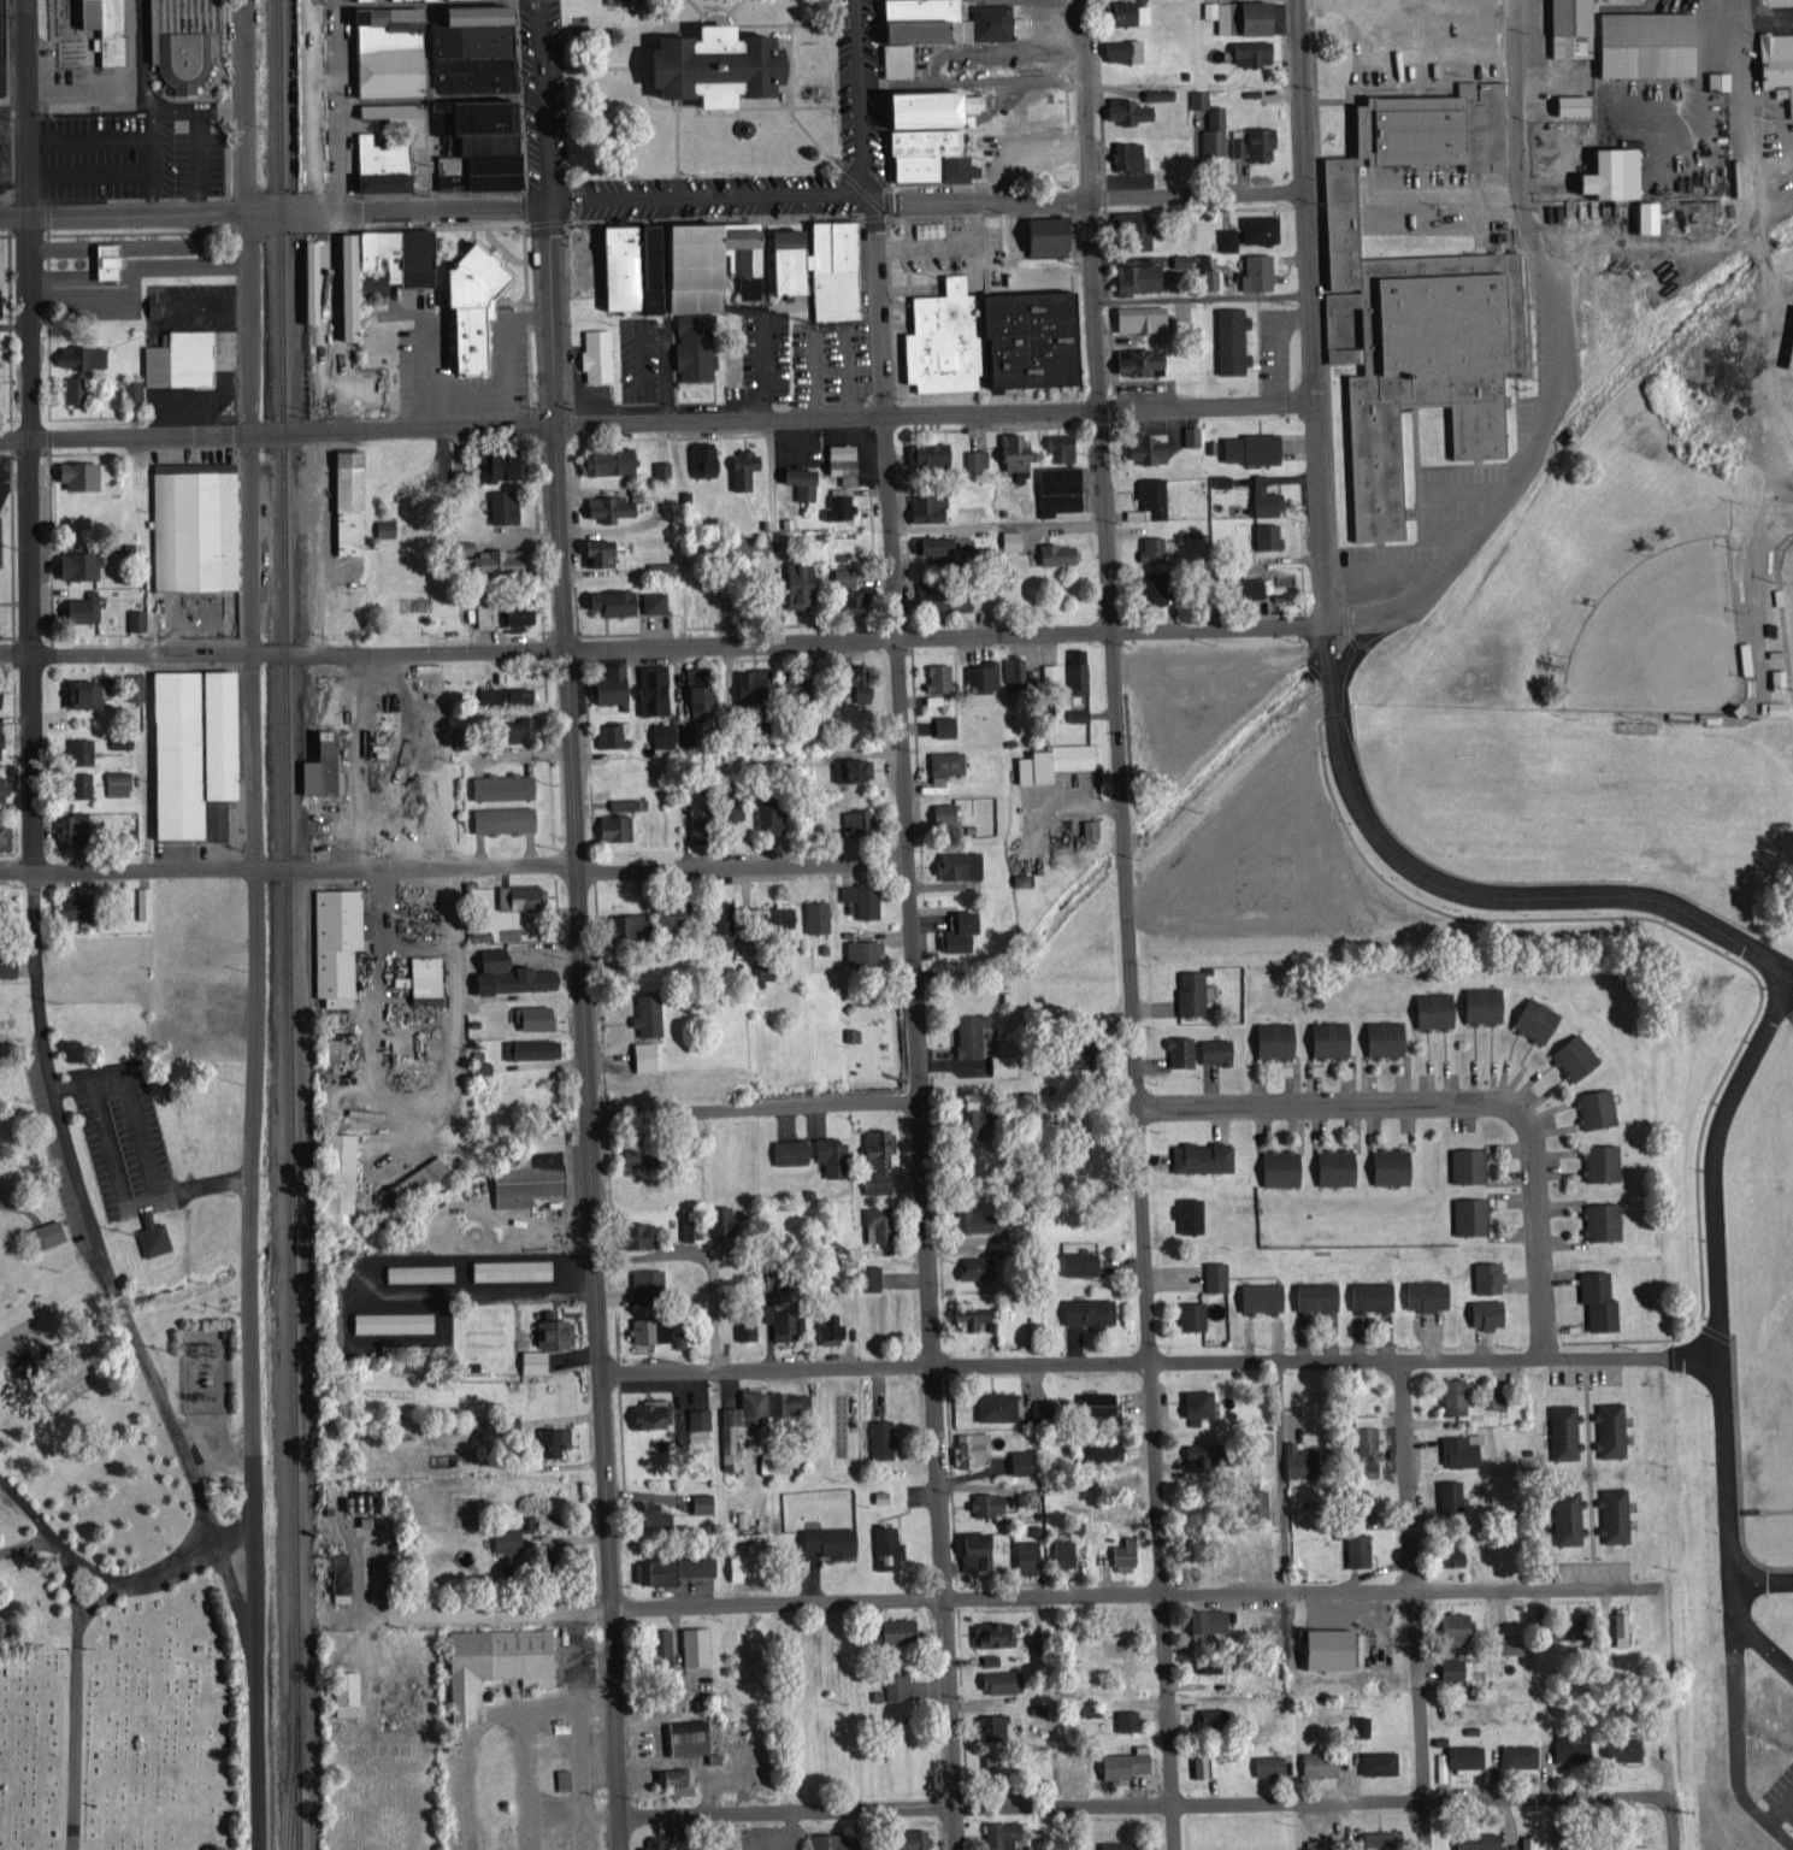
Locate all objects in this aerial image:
building: (1123, 12)
building: (1237, 14)
building: (98, 26)
building: (928, 26)
building: (1564, 28)
building: (1, 30)
building: (183, 42)
building: (1639, 42)
building: (426, 48)
building: (1120, 48)
building: (1246, 51)
building: (0, 61)
building: (1775, 61)
building: (714, 70)
building: (1715, 79)
park: (698, 87)
building: (1151, 92)
building: (1196, 96)
road: (863, 99)
road: (542, 100)
road: (338, 102)
building: (1563, 102)
building: (1123, 110)
building: (388, 112)
building: (1210, 130)
building: (921, 132)
building: (476, 142)
building: (1250, 142)
road: (1759, 145)
parking lot: (6, 149)
building: (1126, 160)
building: (377, 164)
building: (1602, 172)
road: (1087, 194)
road: (708, 199)
road: (272, 207)
building: (1641, 216)
building: (1130, 225)
building: (1255, 226)
building: (1040, 235)
building: (1223, 237)
building: (1178, 259)
building: (671, 264)
building: (100, 265)
building: (810, 265)
building: (1252, 270)
building: (1207, 276)
building: (1131, 277)
building: (301, 281)
building: (368, 283)
building: (338, 284)
building: (1414, 299)
building: (1136, 317)
building: (1226, 338)
building: (690, 344)
road: (1550, 346)
building: (989, 347)
building: (592, 353)
building: (77, 354)
building: (177, 358)
building: (1132, 359)
road: (1765, 369)
building: (69, 388)
building: (129, 388)
road: (933, 412)
road: (277, 431)
building: (1186, 435)
building: (1055, 446)
building: (1245, 447)
building: (1143, 449)
building: (924, 453)
building: (1010, 454)
building: (973, 458)
building: (602, 459)
building: (698, 460)
building: (839, 461)
building: (499, 465)
building: (657, 467)
building: (738, 467)
building: (79, 473)
building: (1216, 479)
building: (795, 481)
parking lot: (5, 482)
building: (1052, 488)
building: (1148, 495)
building: (1260, 496)
building: (837, 505)
building: (921, 505)
building: (499, 506)
building: (602, 506)
building: (191, 524)
building: (382, 526)
building: (1263, 535)
building: (1007, 538)
building: (939, 544)
building: (1148, 547)
building: (592, 550)
building: (1051, 552)
building: (482, 556)
building: (71, 564)
building: (839, 576)
building: (791, 584)
building: (1239, 587)
building: (1148, 588)
park: (1787, 593)
building: (700, 599)
building: (601, 600)
building: (842, 600)
building: (649, 601)
building: (951, 601)
building: (76, 606)
building: (513, 612)
building: (134, 618)
road: (967, 635)
park: (1663, 636)
road: (1326, 647)
road: (282, 653)
building: (1740, 656)
building: (1010, 667)
building: (1046, 670)
building: (1073, 670)
road: (1352, 672)
building: (688, 673)
building: (979, 674)
building: (934, 676)
building: (1773, 678)
building: (749, 679)
building: (853, 681)
building: (606, 684)
building: (783, 684)
building: (131, 685)
building: (649, 689)
building: (78, 691)
building: (500, 693)
building: (2, 694)
building: (692, 699)
building: (1771, 706)
building: (1074, 713)
building: (943, 724)
building: (514, 727)
building: (659, 732)
building: (603, 733)
building: (2, 737)
building: (183, 747)
building: (76, 749)
road: (252, 755)
building: (1049, 760)
building: (942, 761)
building: (317, 764)
building: (849, 767)
building: (114, 780)
building: (75, 783)
building: (496, 784)
building: (4, 786)
road: (31, 786)
building: (620, 802)
building: (939, 812)
building: (207, 818)
building: (499, 818)
building: (765, 818)
building: (853, 820)
building: (72, 823)
building: (609, 826)
building: (1087, 827)
building: (5, 835)
road: (741, 864)
building: (954, 864)
road: (288, 873)
building: (515, 895)
building: (859, 897)
building: (141, 901)
building: (83, 906)
building: (813, 915)
building: (662, 917)
building: (773, 919)
building: (716, 921)
road: (1229, 921)
railway: (293, 924)
building: (361, 924)
building: (619, 924)
road: (1128, 924)
building: (955, 930)
building: (332, 944)
building: (857, 951)
building: (10, 965)
building: (505, 973)
building: (421, 974)
building: (1186, 990)
building: (1478, 1003)
building: (1428, 1008)
building: (642, 1014)
building: (529, 1015)
building: (1532, 1018)
road: (915, 1023)
road: (584, 1025)
building: (849, 1033)
building: (966, 1033)
building: (1325, 1037)
building: (1380, 1037)
building: (1270, 1038)
building: (526, 1048)
building: (1211, 1049)
building: (1175, 1050)
building: (1570, 1054)
building: (641, 1055)
building: (1066, 1055)
building: (1003, 1062)
road: (1333, 1102)
road: (754, 1107)
building: (1593, 1107)
building: (965, 1121)
building: (541, 1139)
building: (785, 1150)
building: (827, 1154)
building: (1198, 1155)
building: (873, 1160)
building: (1598, 1161)
building: (1464, 1163)
building: (1332, 1166)
building: (1386, 1166)
building: (1276, 1167)
building: (337, 1171)
building: (413, 1177)
building: (521, 1178)
building: (1186, 1214)
building: (1467, 1215)
building: (716, 1216)
building: (971, 1219)
building: (1598, 1219)
building: (873, 1221)
building: (53, 1230)
building: (625, 1232)
building: (154, 1233)
road: (1537, 1237)
road: (1716, 1260)
building: (1073, 1261)
building: (968, 1265)
building: (508, 1267)
building: (415, 1271)
building: (1211, 1274)
building: (1484, 1274)
building: (866, 1275)
building: (642, 1279)
building: (1420, 1292)
building: (1366, 1294)
building: (1256, 1295)
building: (1310, 1295)
park: (118, 1296)
building: (1593, 1298)
building: (1085, 1309)
building: (1481, 1312)
building: (968, 1313)
building: (1189, 1314)
building: (778, 1316)
building: (390, 1320)
building: (743, 1326)
building: (824, 1326)
building: (645, 1327)
building: (548, 1328)
road: (1520, 1354)
building: (530, 1359)
road: (1001, 1365)
building: (30, 1366)
building: (1450, 1394)
railway: (284, 1401)
building: (786, 1401)
building: (1192, 1401)
building: (1492, 1401)
building: (1092, 1402)
building: (991, 1403)
building: (644, 1412)
building: (695, 1416)
building: (736, 1421)
building: (1605, 1427)
building: (1559, 1430)
building: (877, 1437)
building: (548, 1438)
building: (1361, 1443)
building: (1098, 1445)
building: (968, 1447)
building: (1190, 1450)
building: (1291, 1459)
building: (1016, 1460)
building: (1445, 1493)
building: (1351, 1495)
building: (700, 1501)
building: (983, 1501)
building: (1250, 1501)
road: (28, 1507)
building: (649, 1513)
building: (1610, 1513)
building: (1564, 1515)
building: (548, 1519)
building: (502, 1538)
building: (824, 1538)
building: (883, 1546)
building: (1352, 1548)
building: (968, 1549)
building: (1061, 1551)
building: (1445, 1551)
building: (1119, 1553)
building: (1022, 1555)
building: (336, 1557)
building: (733, 1566)
building: (668, 1567)
road: (234, 1579)
road: (124, 1584)
road: (1740, 1595)
road: (1125, 1597)
road: (1412, 1603)
road: (93, 1608)
road: (502, 1614)
building: (1203, 1618)
building: (1616, 1626)
building: (1447, 1627)
building: (890, 1628)
building: (989, 1632)
building: (1109, 1634)
building: (690, 1644)
building: (1322, 1646)
building: (656, 1648)
building: (989, 1657)
building: (490, 1661)
building: (1204, 1662)
building: (1451, 1666)
building: (995, 1679)
road: (253, 1680)
building: (891, 1685)
building: (341, 1691)
road: (75, 1699)
building: (1203, 1715)
building: (1122, 1719)
building: (1356, 1724)
building: (981, 1725)
park: (122, 1733)
building: (678, 1736)
building: (1565, 1746)
building: (1616, 1748)
building: (1514, 1754)
building: (1456, 1755)
building: (1373, 1761)
building: (1314, 1762)
building: (992, 1763)
building: (1116, 1763)
building: (1263, 1763)
building: (1195, 1766)
building: (559, 1778)
building: (674, 1778)
road: (1168, 1804)
building: (1002, 1834)
building: (907, 1838)
building: (831, 1840)
building: (1367, 1840)
building: (1471, 1840)
building: (648, 1842)
building: (1114, 1845)
building: (1620, 1846)

